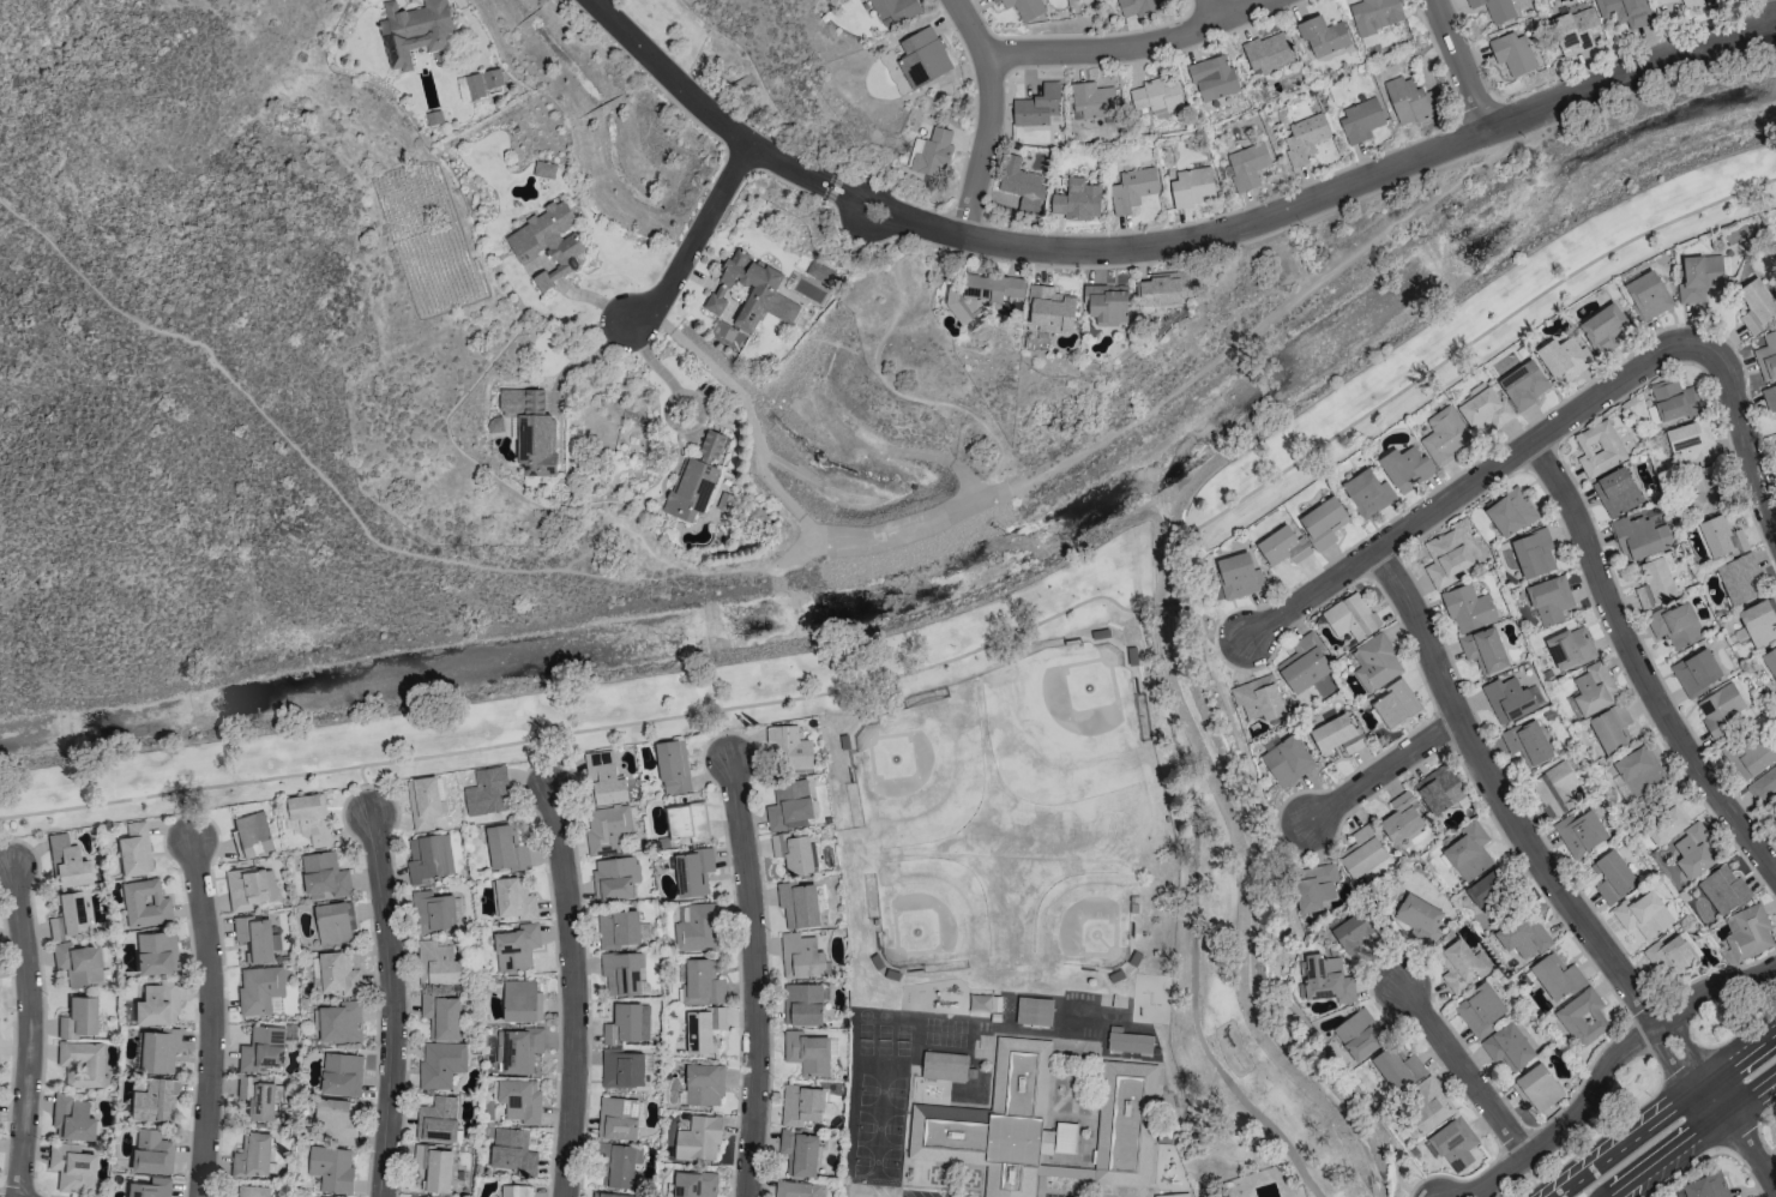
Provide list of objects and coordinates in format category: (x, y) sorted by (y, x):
building: (1140, 6)
building: (1023, 7)
building: (895, 8)
building: (1495, 8)
road: (1220, 10)
building: (1625, 11)
building: (1374, 14)
building: (1575, 30)
building: (416, 31)
road: (982, 31)
building: (1323, 35)
building: (1368, 40)
road: (1140, 43)
building: (1268, 53)
building: (1513, 53)
building: (922, 58)
road: (1462, 64)
building: (1214, 78)
building: (482, 82)
building: (1156, 95)
building: (1092, 100)
building: (1411, 100)
building: (1037, 106)
road: (700, 108)
building: (434, 118)
building: (1361, 119)
building: (1304, 139)
road: (987, 146)
building: (1247, 164)
building: (543, 169)
building: (1022, 184)
building: (1192, 186)
building: (1132, 188)
building: (1077, 200)
road: (1313, 203)
road: (693, 239)
building: (548, 241)
building: (1699, 277)
building: (1164, 288)
building: (752, 291)
building: (982, 293)
building: (1646, 294)
building: (1107, 303)
building: (1757, 306)
building: (1050, 309)
building: (1603, 329)
building: (1766, 356)
road: (582, 357)
building: (1564, 359)
road: (1441, 360)
road: (650, 361)
road: (887, 381)
building: (1523, 384)
building: (1770, 398)
building: (1673, 401)
building: (1485, 409)
road: (666, 414)
building: (531, 429)
building: (1445, 435)
road: (1748, 439)
building: (1775, 443)
building: (1691, 444)
building: (712, 446)
building: (1599, 447)
building: (1405, 468)
road: (1475, 483)
building: (692, 488)
building: (1617, 492)
building: (1368, 493)
building: (1704, 493)
building: (1511, 512)
building: (1323, 522)
building: (1721, 536)
building: (1640, 537)
building: (1283, 546)
building: (1534, 553)
building: (1445, 558)
road: (735, 570)
building: (1239, 575)
building: (1738, 578)
building: (1655, 582)
building: (1549, 600)
road: (1168, 607)
building: (1468, 608)
building: (1350, 616)
building: (1759, 622)
building: (1675, 625)
road: (1223, 643)
building: (1570, 648)
building: (1483, 649)
building: (1770, 661)
building: (1304, 663)
building: (1377, 663)
road: (1637, 667)
building: (1696, 672)
building: (1594, 688)
building: (1258, 698)
building: (1511, 699)
building: (1395, 704)
building: (1720, 709)
building: (1611, 728)
road: (579, 732)
road: (723, 734)
building: (1337, 734)
building: (1528, 741)
building: (789, 748)
building: (1748, 756)
road: (547, 760)
building: (1287, 760)
building: (673, 766)
road: (1385, 768)
building: (1639, 770)
building: (604, 778)
building: (1764, 787)
road: (365, 788)
building: (1555, 788)
building: (1439, 789)
building: (488, 792)
building: (425, 802)
building: (789, 805)
road: (183, 814)
building: (311, 818)
building: (1401, 818)
building: (1666, 818)
building: (687, 822)
road: (1521, 828)
building: (607, 829)
road: (1293, 830)
building: (1579, 832)
building: (252, 835)
road: (5, 842)
building: (506, 848)
building: (134, 849)
building: (1468, 850)
building: (794, 852)
building: (1362, 852)
building: (428, 858)
building: (67, 862)
building: (693, 872)
building: (324, 874)
building: (1613, 877)
building: (614, 878)
building: (1314, 886)
building: (246, 888)
building: (1723, 890)
building: (1486, 891)
building: (512, 898)
building: (144, 904)
building: (799, 904)
building: (434, 910)
road: (1286, 912)
building: (1419, 914)
building: (1643, 914)
building: (68, 915)
building: (333, 922)
building: (618, 928)
building: (698, 928)
building: (1355, 932)
building: (1747, 934)
building: (1525, 937)
building: (254, 938)
building: (514, 948)
building: (156, 952)
building: (801, 956)
building: (1669, 956)
building: (78, 963)
building: (438, 964)
building: (1462, 966)
building: (621, 973)
building: (338, 974)
road: (755, 976)
building: (1557, 976)
building: (1326, 979)
building: (702, 984)
building: (258, 988)
road: (574, 990)
building: (522, 1000)
building: (157, 1003)
road: (393, 1003)
building: (802, 1004)
building: (1480, 1010)
building: (1034, 1011)
road: (212, 1016)
building: (441, 1016)
building: (78, 1017)
building: (1582, 1018)
building: (341, 1022)
building: (626, 1024)
road: (28, 1029)
building: (1359, 1034)
building: (1130, 1042)
building: (1507, 1047)
building: (261, 1048)
building: (158, 1049)
building: (518, 1049)
building: (807, 1053)
building: (80, 1063)
building: (441, 1064)
road: (1609, 1064)
building: (944, 1065)
road: (1463, 1065)
building: (622, 1067)
building: (1397, 1067)
building: (341, 1075)
building: (704, 1084)
building: (1537, 1089)
building: (257, 1097)
building: (520, 1099)
building: (153, 1101)
building: (801, 1105)
building: (1425, 1108)
road: (1666, 1113)
building: (71, 1118)
building: (619, 1118)
building: (337, 1119)
building: (438, 1119)
building: (994, 1123)
building: (1128, 1126)
road: (1740, 1132)
road: (1694, 1136)
building: (698, 1138)
building: (1452, 1143)
building: (513, 1151)
building: (151, 1153)
building: (800, 1153)
building: (252, 1155)
building: (619, 1165)
building: (71, 1167)
building: (331, 1168)
building: (433, 1168)
road: (1686, 1169)
building: (694, 1184)
building: (1705, 1186)
building: (150, 1187)
building: (799, 1189)
building: (248, 1191)
building: (516, 1191)
building: (609, 1195)
building: (1172, 1195)
road: (1416, 1195)
building: (415, 1196)

